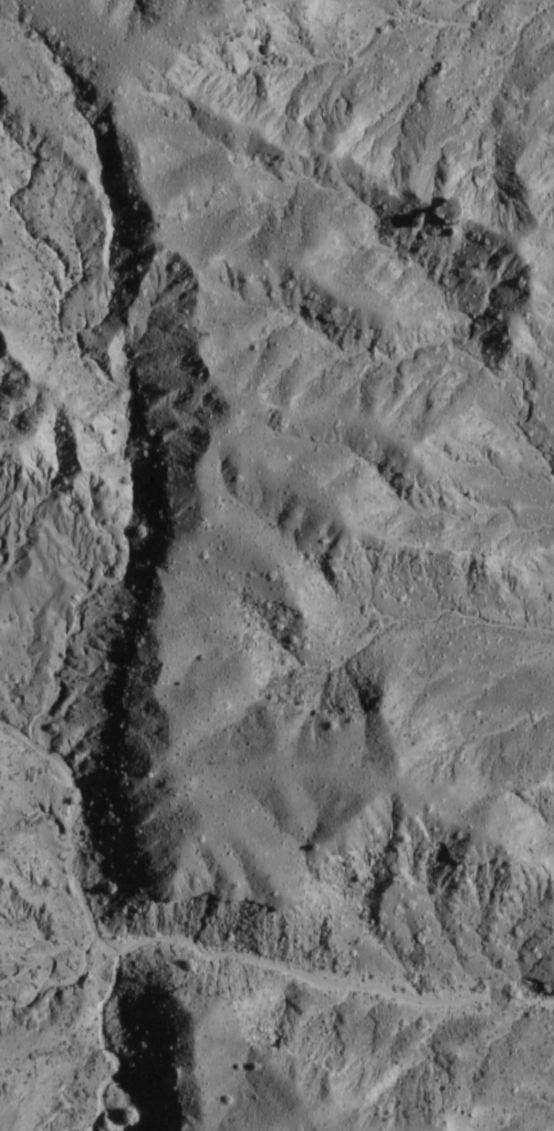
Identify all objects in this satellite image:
road: (234, 954)
road: (7, 980)
road: (30, 980)
road: (459, 1006)
road: (516, 1037)

